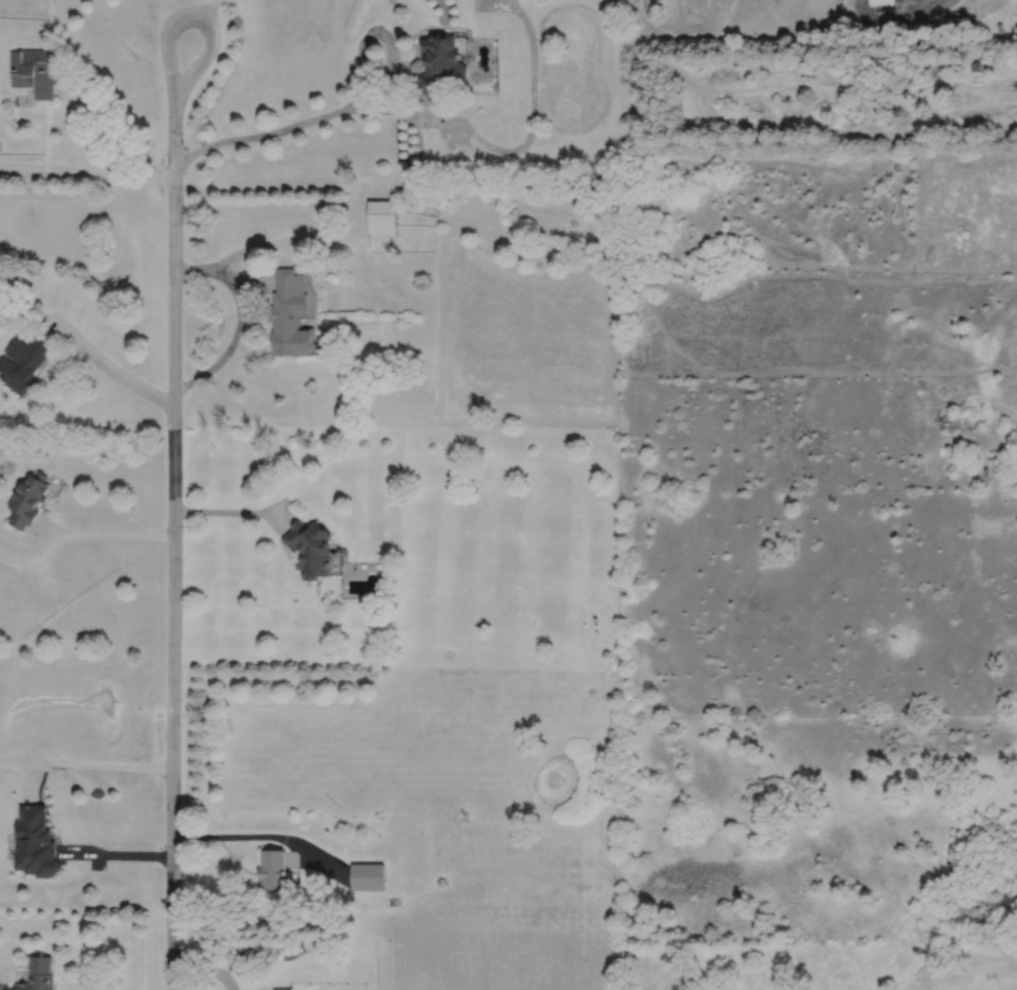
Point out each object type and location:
building: (884, 2)
road: (179, 8)
road: (208, 8)
road: (194, 16)
road: (375, 31)
building: (439, 65)
building: (977, 68)
building: (34, 71)
road: (369, 110)
road: (112, 131)
road: (257, 135)
road: (525, 143)
road: (78, 175)
road: (165, 175)
building: (382, 215)
road: (310, 237)
road: (194, 269)
building: (290, 313)
road: (236, 336)
road: (87, 350)
building: (23, 361)
building: (28, 500)
road: (232, 512)
road: (49, 527)
road: (116, 534)
building: (312, 548)
road: (172, 550)
road: (34, 561)
road: (105, 766)
road: (233, 837)
building: (34, 842)
road: (115, 853)
road: (295, 854)
road: (320, 857)
building: (272, 868)
building: (367, 875)
road: (206, 967)
building: (37, 974)
building: (284, 989)

